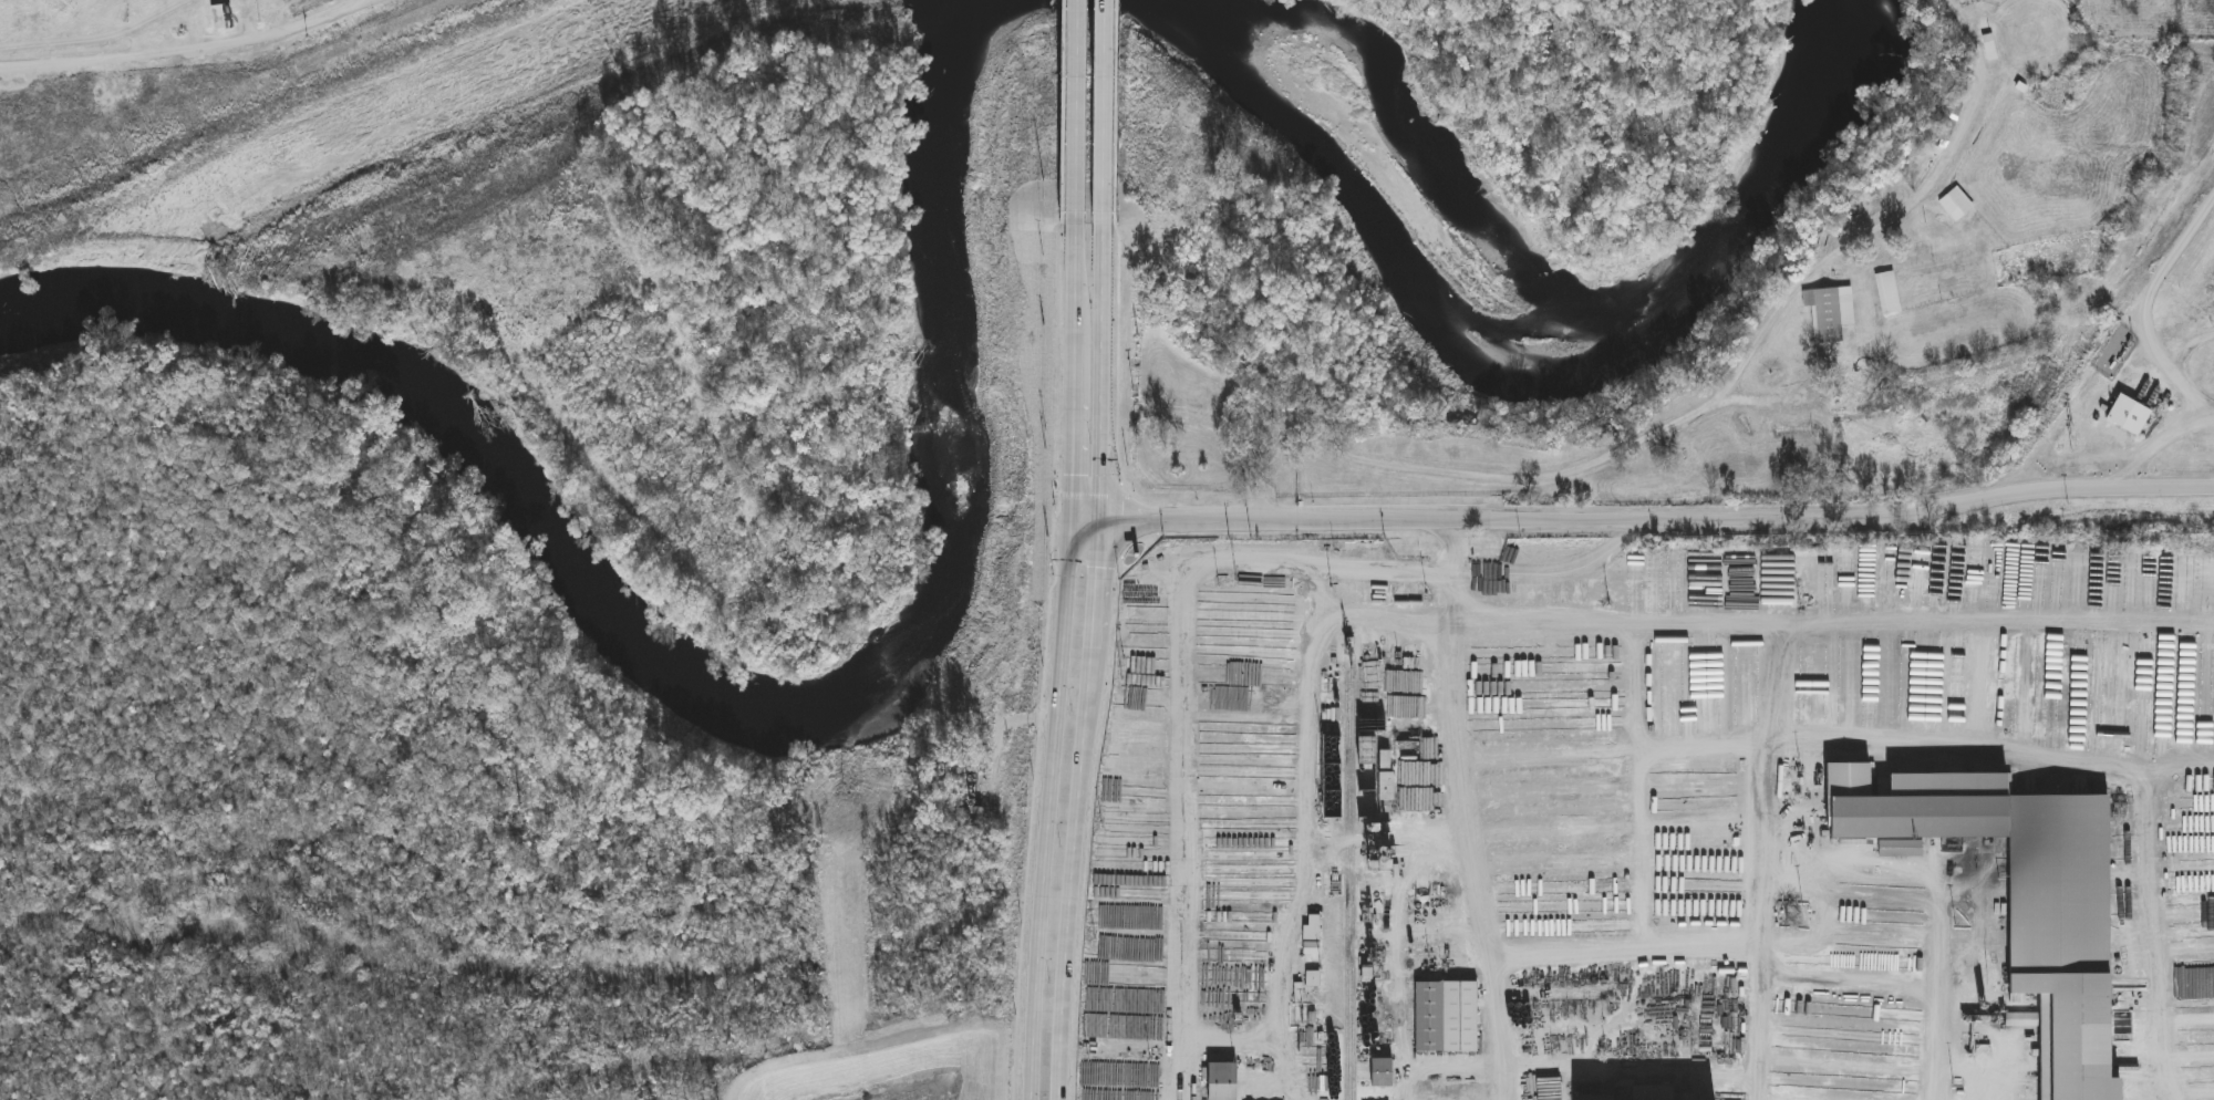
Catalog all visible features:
building: (221, 19)
building: (1990, 49)
road: (187, 52)
building: (2015, 101)
road: (1073, 113)
road: (1104, 113)
building: (1952, 113)
building: (1957, 206)
road: (1073, 286)
building: (1890, 294)
road: (2143, 308)
building: (1832, 314)
landfill: (2141, 378)
river: (1477, 380)
road: (1072, 430)
road: (2151, 439)
road: (1643, 520)
building: (1846, 583)
road: (1455, 618)
road: (1834, 621)
road: (1095, 663)
building: (1934, 683)
building: (1889, 689)
river: (757, 692)
road: (1184, 699)
building: (1110, 719)
road: (1307, 797)
road: (1049, 808)
building: (980, 811)
railway: (1349, 870)
building: (2037, 906)
road: (1482, 909)
building: (1312, 936)
road: (1936, 998)
building: (1447, 1018)
building: (1224, 1082)
building: (1651, 1093)

